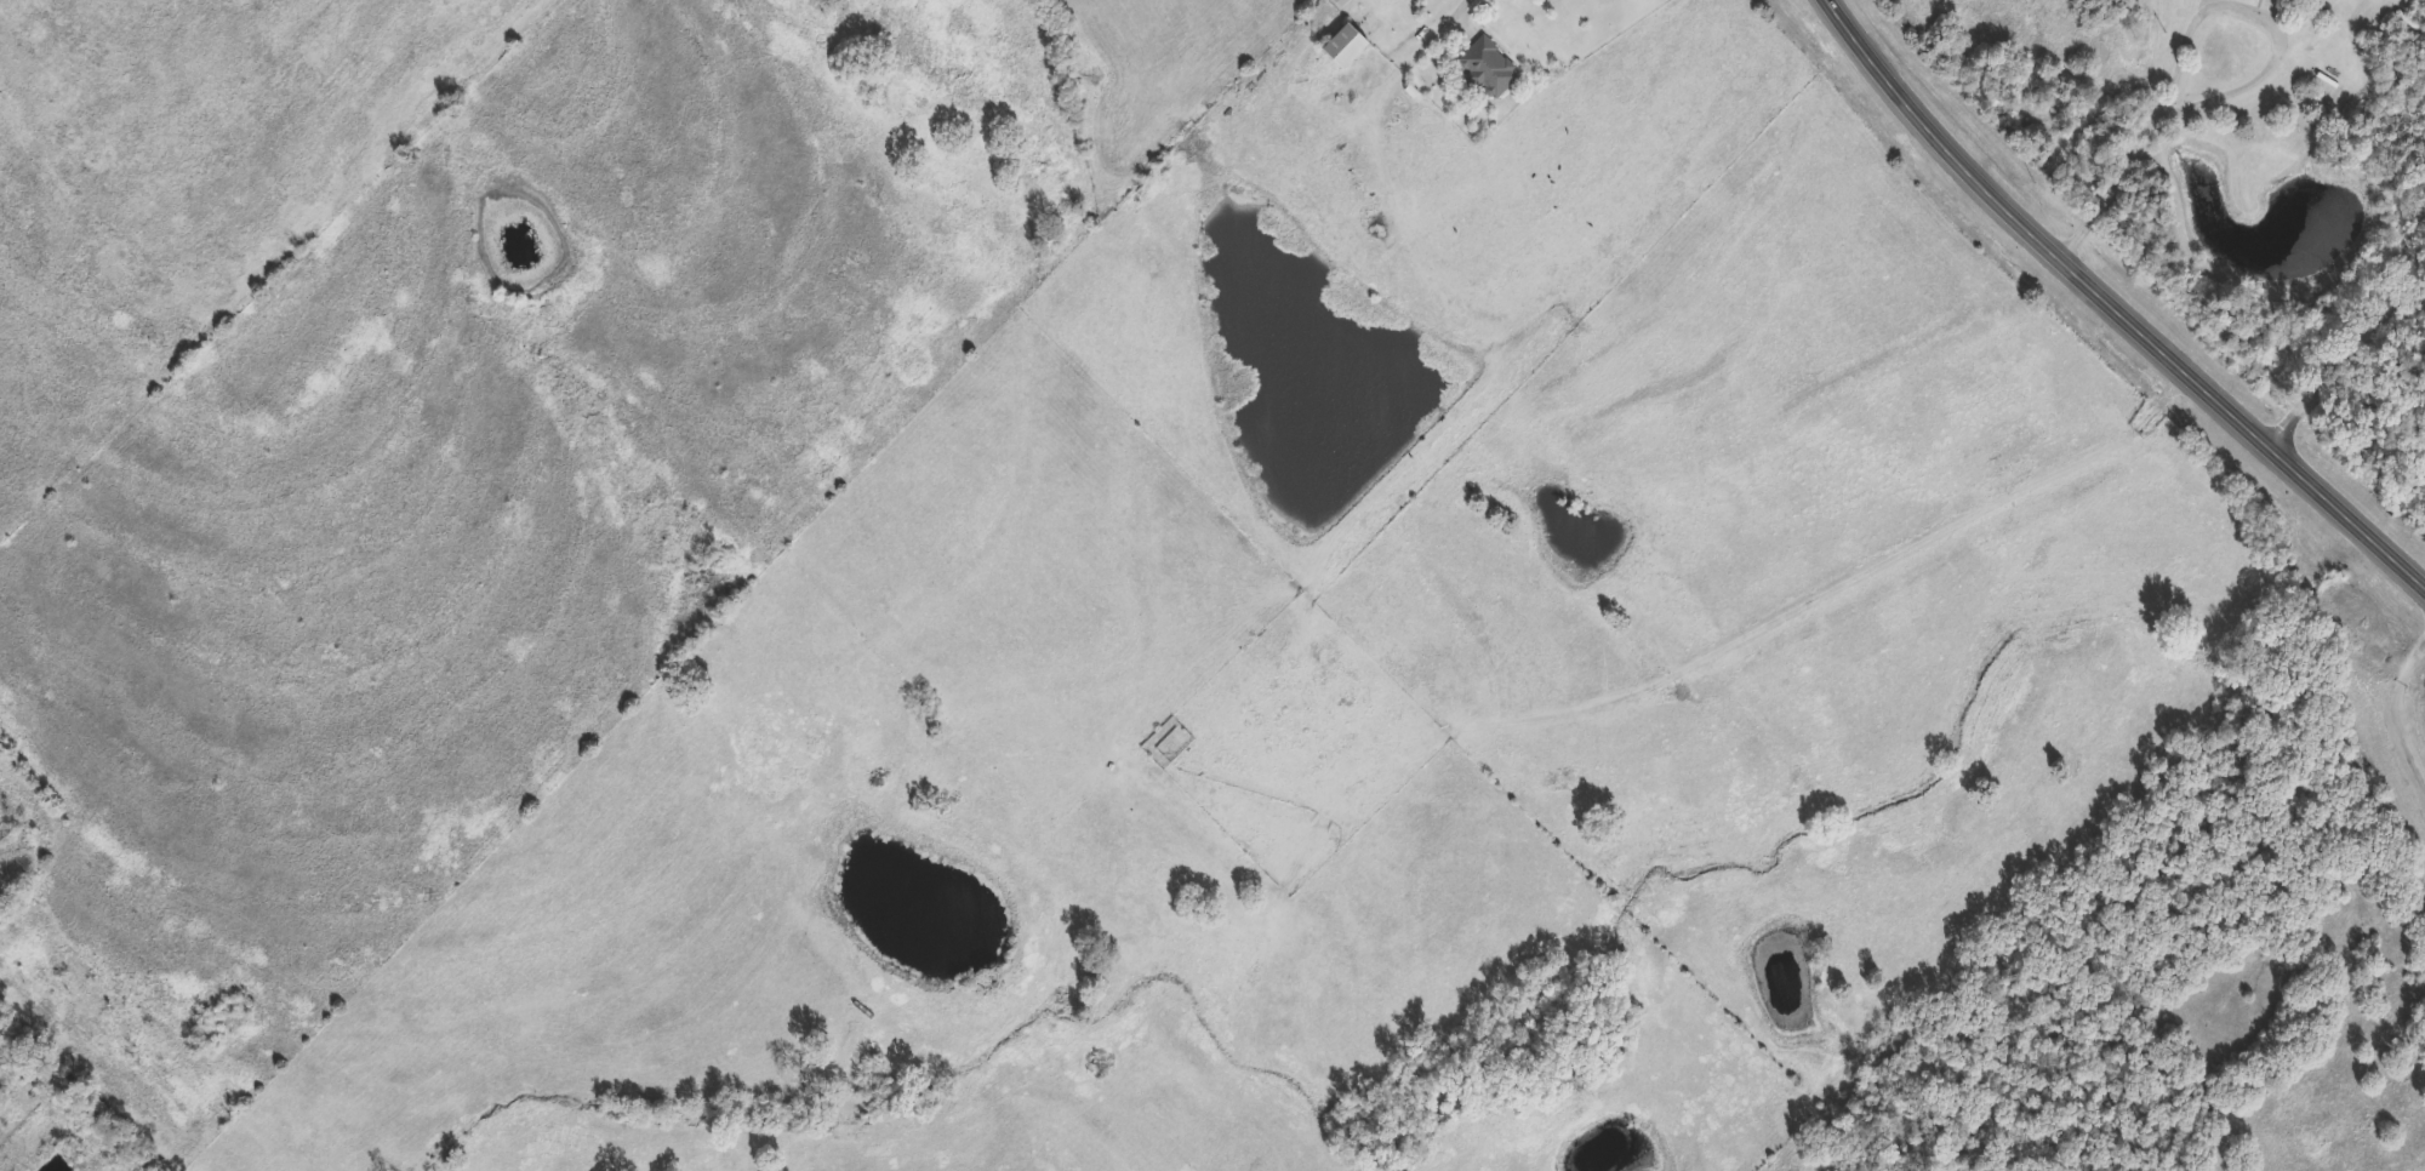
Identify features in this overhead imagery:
building: (1341, 4)
road: (1472, 5)
building: (1340, 51)
building: (1487, 70)
road: (2192, 107)
road: (2121, 302)
road: (2350, 358)
road: (2402, 716)

